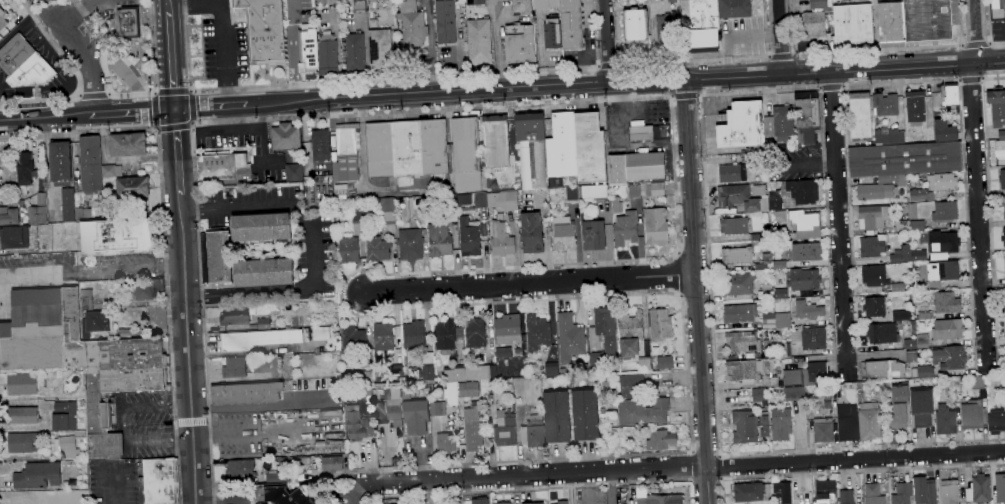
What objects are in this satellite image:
building: (321, 2)
building: (475, 2)
road: (168, 5)
building: (359, 6)
building: (523, 7)
building: (734, 8)
building: (997, 9)
road: (77, 13)
building: (815, 19)
building: (927, 20)
building: (445, 21)
building: (567, 21)
building: (128, 22)
building: (891, 22)
building: (5, 24)
building: (412, 24)
building: (704, 26)
building: (853, 26)
road: (222, 27)
building: (635, 27)
road: (989, 28)
building: (264, 30)
building: (667, 31)
road: (975, 32)
building: (553, 33)
road: (874, 35)
road: (733, 37)
road: (780, 37)
building: (479, 42)
road: (602, 42)
road: (976, 43)
building: (520, 44)
building: (380, 49)
road: (294, 50)
building: (308, 51)
building: (354, 51)
road: (872, 51)
building: (15, 54)
building: (328, 55)
road: (780, 57)
road: (84, 58)
road: (171, 59)
road: (688, 61)
road: (609, 64)
road: (844, 71)
building: (32, 73)
road: (123, 73)
road: (76, 76)
road: (382, 78)
road: (832, 89)
road: (187, 90)
road: (490, 90)
road: (189, 91)
road: (155, 92)
road: (171, 92)
road: (109, 94)
road: (155, 94)
building: (951, 94)
road: (76, 95)
road: (126, 95)
road: (93, 96)
road: (684, 98)
road: (271, 103)
building: (885, 104)
road: (191, 105)
building: (997, 106)
road: (210, 107)
building: (915, 108)
road: (155, 109)
traffic signals: (174, 109)
road: (132, 112)
building: (860, 116)
road: (45, 117)
building: (806, 117)
road: (193, 121)
building: (779, 123)
road: (157, 126)
building: (740, 126)
road: (191, 127)
road: (175, 128)
road: (159, 129)
building: (643, 131)
building: (944, 131)
building: (1001, 135)
building: (286, 136)
building: (889, 137)
building: (496, 141)
building: (770, 142)
building: (128, 144)
building: (321, 144)
building: (433, 147)
building: (407, 148)
building: (450, 148)
building: (589, 148)
building: (561, 149)
building: (380, 150)
building: (532, 150)
road: (177, 151)
building: (347, 153)
building: (467, 154)
building: (334, 156)
building: (904, 159)
building: (61, 163)
building: (91, 164)
building: (224, 167)
building: (645, 167)
building: (617, 169)
building: (111, 170)
building: (25, 171)
building: (129, 172)
building: (294, 172)
building: (732, 174)
building: (1002, 179)
building: (78, 182)
building: (942, 182)
building: (132, 187)
building: (656, 189)
building: (341, 191)
building: (634, 191)
building: (594, 192)
building: (803, 192)
building: (873, 192)
road: (965, 193)
building: (101, 195)
building: (572, 195)
building: (920, 195)
building: (15, 196)
building: (774, 197)
building: (41, 198)
building: (741, 198)
building: (464, 199)
building: (21, 203)
building: (420, 203)
building: (68, 204)
building: (481, 205)
building: (616, 205)
road: (256, 206)
building: (451, 207)
building: (1003, 207)
road: (197, 209)
building: (388, 209)
road: (705, 211)
building: (912, 211)
building: (945, 211)
building: (37, 214)
building: (83, 214)
building: (9, 216)
road: (978, 216)
building: (359, 217)
building: (873, 217)
building: (345, 219)
building: (799, 224)
building: (415, 225)
building: (420, 225)
building: (733, 226)
road: (839, 226)
building: (902, 226)
building: (916, 226)
building: (656, 227)
building: (261, 228)
building: (369, 229)
building: (395, 230)
building: (624, 230)
building: (531, 233)
building: (563, 233)
building: (395, 234)
building: (593, 235)
building: (117, 236)
building: (14, 237)
road: (163, 237)
building: (469, 237)
building: (501, 237)
building: (756, 237)
building: (1003, 238)
building: (440, 240)
building: (411, 244)
building: (942, 245)
building: (872, 246)
building: (379, 249)
building: (350, 250)
building: (805, 252)
building: (901, 254)
building: (216, 255)
building: (737, 256)
building: (918, 256)
building: (764, 262)
building: (913, 264)
building: (779, 265)
building: (1004, 265)
building: (264, 271)
road: (444, 271)
building: (939, 273)
building: (874, 276)
building: (804, 280)
building: (738, 284)
road: (528, 285)
building: (897, 287)
building: (147, 289)
road: (301, 290)
road: (694, 291)
building: (766, 291)
building: (780, 294)
road: (202, 296)
building: (86, 300)
building: (946, 303)
building: (874, 307)
building: (808, 310)
building: (739, 313)
building: (236, 315)
building: (901, 315)
building: (923, 316)
building: (782, 320)
building: (768, 321)
building: (95, 323)
building: (264, 323)
building: (660, 325)
building: (1003, 326)
building: (948, 329)
building: (507, 330)
building: (125, 333)
building: (475, 333)
building: (537, 333)
building: (630, 333)
building: (323, 334)
building: (883, 334)
building: (413, 335)
building: (447, 335)
building: (383, 336)
building: (604, 336)
building: (353, 337)
building: (570, 337)
building: (261, 338)
building: (809, 338)
building: (922, 341)
building: (742, 342)
building: (769, 346)
road: (188, 349)
building: (783, 350)
building: (503, 352)
building: (79, 357)
building: (909, 357)
building: (950, 358)
building: (662, 362)
building: (644, 364)
building: (236, 366)
building: (427, 368)
building: (545, 370)
building: (744, 370)
building: (884, 370)
building: (397, 371)
building: (925, 372)
building: (806, 375)
building: (367, 376)
building: (772, 381)
building: (978, 382)
building: (22, 384)
building: (468, 386)
building: (632, 386)
building: (989, 388)
building: (1004, 390)
building: (836, 391)
building: (900, 392)
building: (247, 393)
building: (488, 394)
building: (794, 394)
building: (759, 395)
building: (827, 401)
building: (82, 402)
building: (384, 403)
building: (922, 407)
building: (437, 408)
building: (643, 412)
building: (415, 414)
building: (23, 415)
building: (585, 415)
building: (972, 415)
building: (65, 416)
building: (556, 416)
building: (897, 417)
road: (191, 421)
building: (996, 421)
building: (869, 422)
road: (123, 423)
building: (355, 423)
building: (847, 423)
building: (946, 423)
building: (781, 425)
building: (748, 426)
building: (472, 427)
building: (823, 430)
building: (505, 431)
building: (533, 432)
building: (661, 440)
building: (24, 442)
building: (445, 442)
building: (68, 446)
road: (705, 450)
building: (305, 461)
building: (84, 462)
building: (289, 462)
building: (332, 464)
road: (680, 466)
road: (722, 467)
building: (240, 470)
road: (851, 473)
building: (40, 475)
building: (278, 478)
building: (161, 481)
road: (110, 484)
road: (611, 487)
building: (980, 488)
building: (1000, 488)
building: (826, 491)
building: (924, 491)
building: (749, 492)
building: (782, 492)
building: (949, 492)
road: (352, 493)
building: (282, 494)
building: (873, 494)
building: (902, 494)
building: (846, 497)
building: (660, 499)
building: (480, 500)
building: (562, 502)
building: (446, 503)
building: (502, 503)
building: (527, 503)

